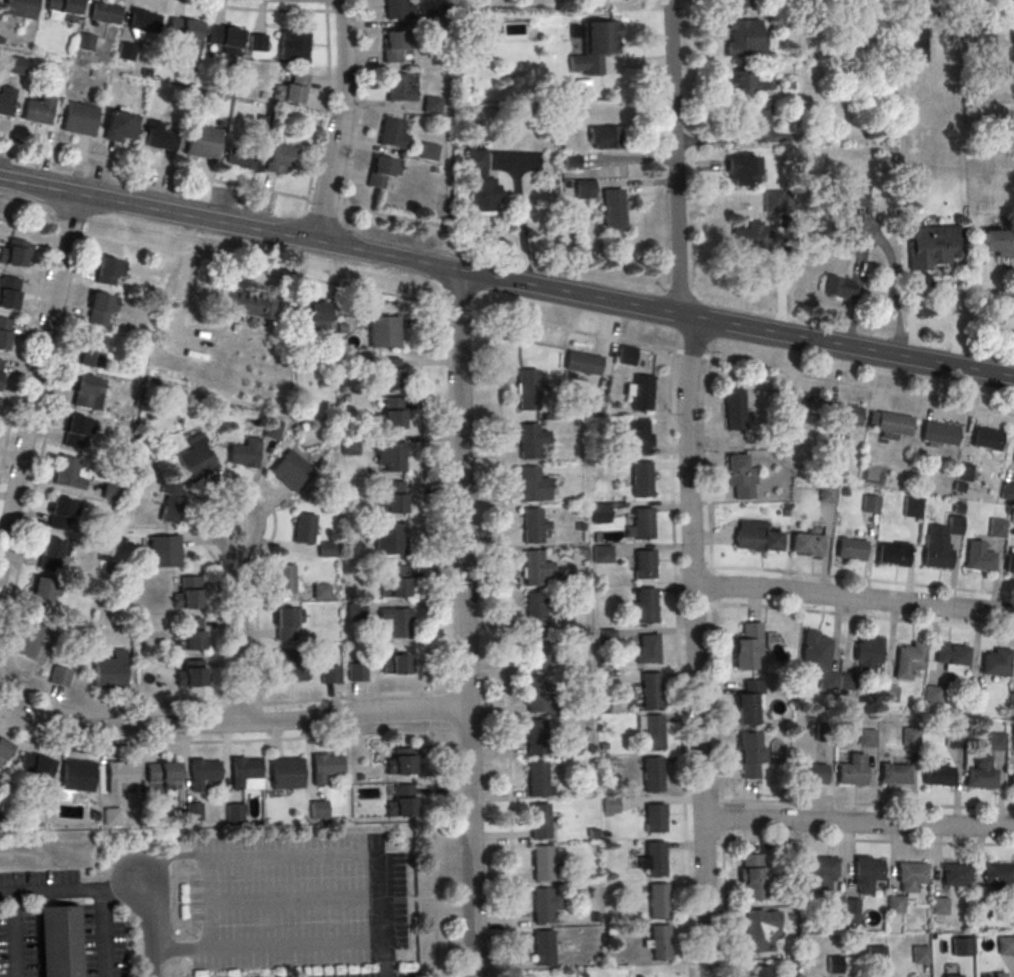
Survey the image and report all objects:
building: (737, 4)
road: (325, 5)
building: (25, 6)
building: (65, 9)
road: (255, 9)
building: (397, 10)
building: (105, 13)
building: (434, 17)
road: (741, 18)
building: (144, 22)
building: (821, 23)
building: (185, 32)
building: (226, 39)
building: (746, 39)
building: (984, 40)
building: (86, 43)
building: (257, 43)
building: (917, 44)
building: (292, 45)
building: (394, 45)
building: (595, 47)
building: (127, 52)
road: (637, 62)
building: (16, 66)
building: (749, 84)
building: (398, 88)
building: (293, 90)
building: (6, 101)
road: (361, 104)
building: (431, 105)
road: (325, 106)
building: (38, 108)
building: (79, 119)
road: (341, 121)
building: (261, 125)
building: (121, 127)
building: (392, 134)
building: (159, 137)
building: (606, 138)
road: (743, 139)
building: (203, 141)
building: (428, 152)
building: (244, 158)
building: (280, 158)
road: (627, 160)
building: (571, 163)
road: (701, 166)
building: (743, 171)
building: (382, 172)
road: (225, 183)
building: (482, 183)
road: (634, 184)
building: (584, 189)
building: (855, 197)
building: (777, 202)
road: (520, 210)
building: (613, 210)
building: (751, 238)
building: (999, 244)
building: (934, 247)
building: (14, 253)
road: (302, 269)
building: (108, 271)
road: (781, 273)
road: (860, 276)
road: (506, 280)
road: (919, 280)
building: (838, 288)
road: (936, 289)
building: (8, 292)
road: (178, 294)
building: (248, 306)
building: (100, 309)
building: (311, 315)
road: (504, 318)
building: (4, 333)
building: (384, 333)
building: (93, 350)
road: (24, 352)
building: (626, 356)
building: (583, 364)
building: (1, 366)
building: (389, 374)
road: (38, 375)
building: (87, 391)
building: (528, 391)
building: (641, 394)
building: (594, 403)
building: (798, 406)
building: (734, 410)
building: (391, 414)
building: (843, 415)
building: (893, 425)
road: (46, 428)
building: (272, 431)
building: (76, 432)
building: (939, 435)
building: (638, 439)
building: (990, 440)
building: (528, 442)
building: (350, 447)
building: (245, 454)
road: (706, 455)
building: (393, 456)
building: (197, 459)
building: (290, 471)
building: (68, 472)
building: (964, 473)
building: (741, 476)
building: (641, 481)
road: (689, 484)
building: (530, 486)
building: (111, 491)
building: (1007, 493)
building: (827, 495)
building: (392, 499)
building: (170, 504)
building: (870, 505)
building: (911, 509)
building: (61, 514)
building: (601, 514)
building: (644, 523)
building: (532, 527)
building: (954, 527)
building: (997, 529)
building: (304, 530)
building: (757, 539)
building: (391, 540)
building: (806, 545)
building: (326, 550)
building: (851, 550)
building: (52, 553)
building: (164, 553)
building: (603, 555)
building: (892, 556)
building: (979, 558)
building: (937, 559)
building: (1010, 565)
building: (645, 566)
building: (534, 569)
road: (844, 579)
building: (284, 580)
building: (395, 583)
building: (41, 592)
building: (321, 592)
building: (188, 595)
road: (854, 598)
building: (646, 606)
building: (356, 611)
building: (537, 611)
road: (863, 617)
road: (238, 622)
road: (464, 622)
building: (397, 623)
building: (285, 626)
building: (190, 636)
road: (427, 639)
building: (606, 640)
building: (36, 641)
road: (506, 647)
building: (748, 648)
building: (648, 651)
building: (815, 653)
building: (538, 654)
building: (867, 655)
building: (951, 656)
building: (395, 661)
building: (909, 662)
road: (679, 663)
building: (997, 664)
building: (290, 668)
building: (357, 673)
building: (110, 674)
building: (60, 675)
building: (191, 676)
building: (330, 676)
building: (828, 682)
building: (846, 684)
building: (651, 692)
building: (536, 693)
building: (889, 695)
building: (932, 696)
road: (717, 703)
building: (1011, 703)
building: (750, 704)
road: (205, 706)
road: (228, 723)
building: (653, 735)
building: (911, 737)
building: (537, 739)
building: (867, 739)
building: (953, 740)
road: (211, 742)
building: (996, 743)
building: (4, 750)
building: (750, 752)
building: (400, 761)
building: (34, 765)
building: (324, 768)
building: (244, 772)
building: (202, 773)
building: (77, 774)
building: (120, 775)
building: (286, 775)
building: (653, 775)
building: (813, 775)
building: (981, 775)
building: (163, 776)
building: (852, 776)
building: (895, 776)
building: (938, 777)
building: (538, 780)
building: (1012, 781)
building: (401, 800)
building: (611, 807)
building: (192, 811)
building: (234, 811)
building: (111, 816)
road: (721, 818)
building: (656, 820)
building: (541, 822)
road: (859, 822)
building: (656, 861)
building: (543, 864)
building: (822, 869)
building: (868, 872)
building: (911, 875)
building: (955, 875)
building: (998, 875)
building: (752, 876)
road: (385, 887)
road: (72, 890)
road: (296, 901)
building: (659, 902)
road: (206, 903)
building: (546, 906)
building: (833, 906)
building: (895, 906)
building: (939, 908)
building: (982, 910)
building: (851, 913)
road: (160, 926)
building: (761, 928)
road: (103, 932)
road: (16, 935)
building: (58, 939)
building: (661, 943)
building: (1006, 947)
building: (961, 948)
building: (544, 950)
building: (877, 956)
building: (919, 956)
road: (388, 957)
building: (759, 971)
building: (1000, 974)
building: (955, 976)

